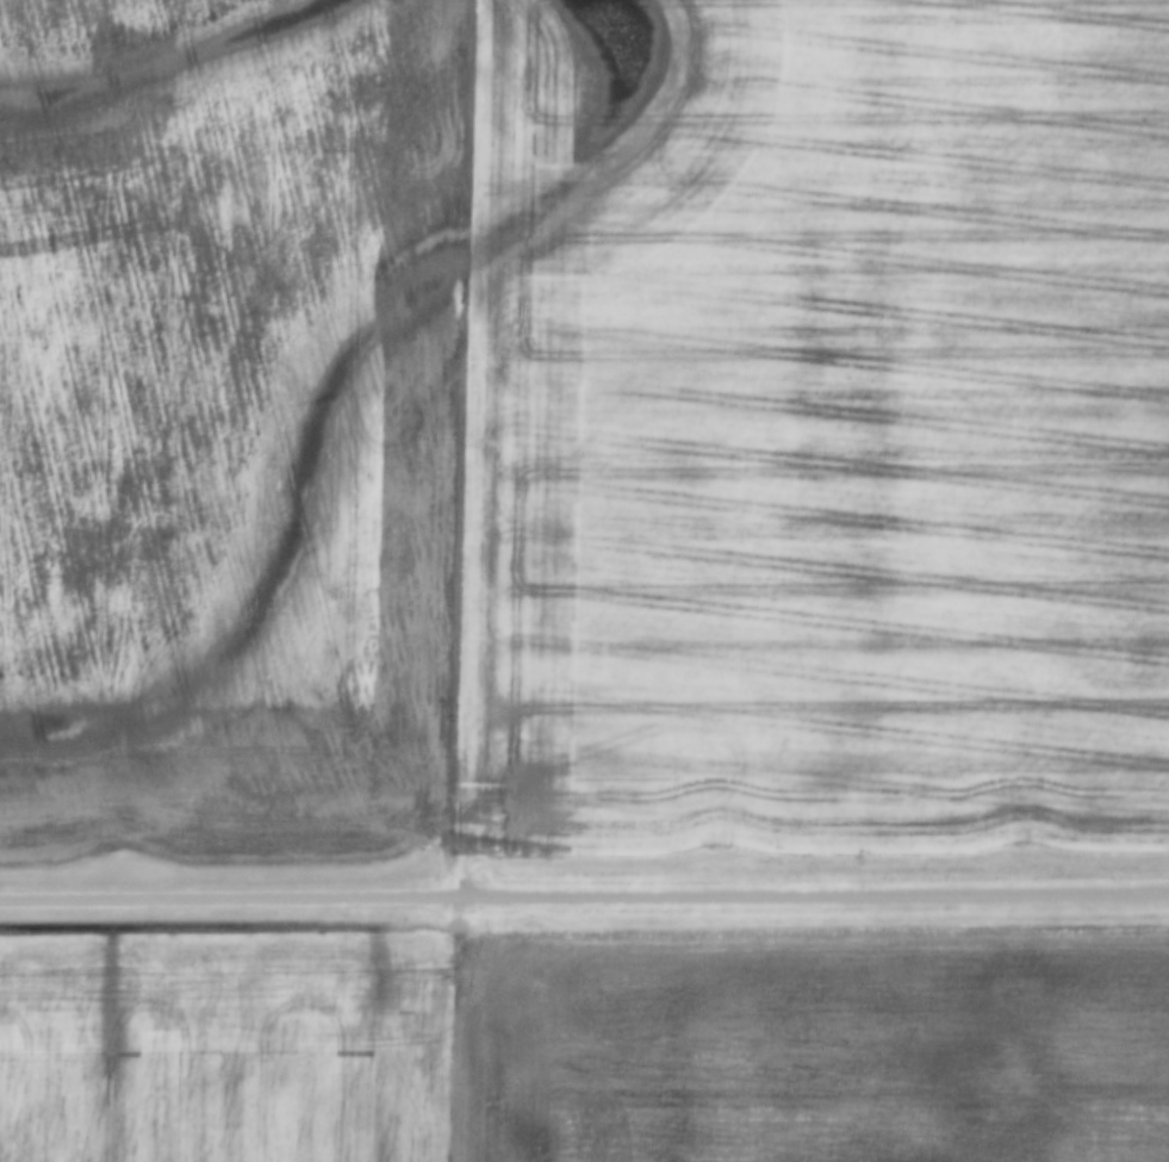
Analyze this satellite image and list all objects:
crop: (582, 425)
road: (584, 894)
crop: (808, 1043)
crop: (222, 1045)

